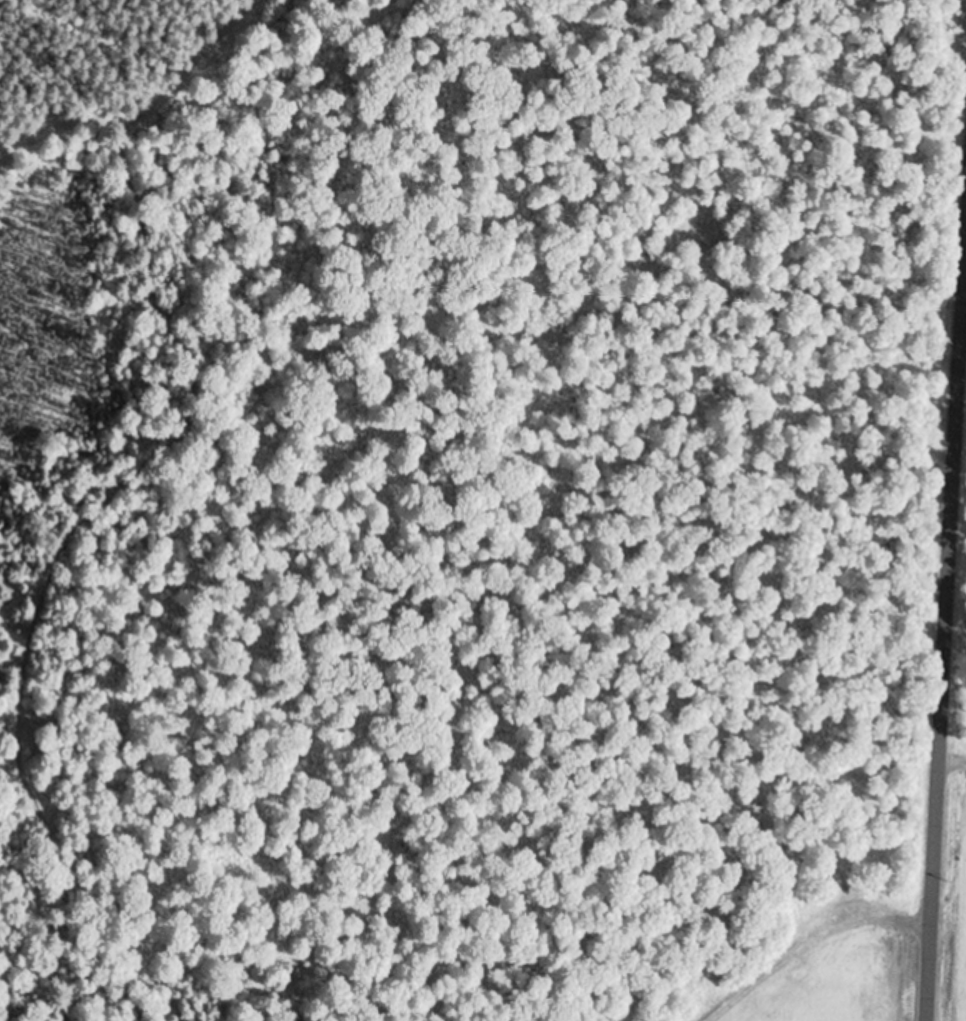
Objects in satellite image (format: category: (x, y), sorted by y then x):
road: (942, 633)
crop: (956, 901)
crop: (831, 959)

